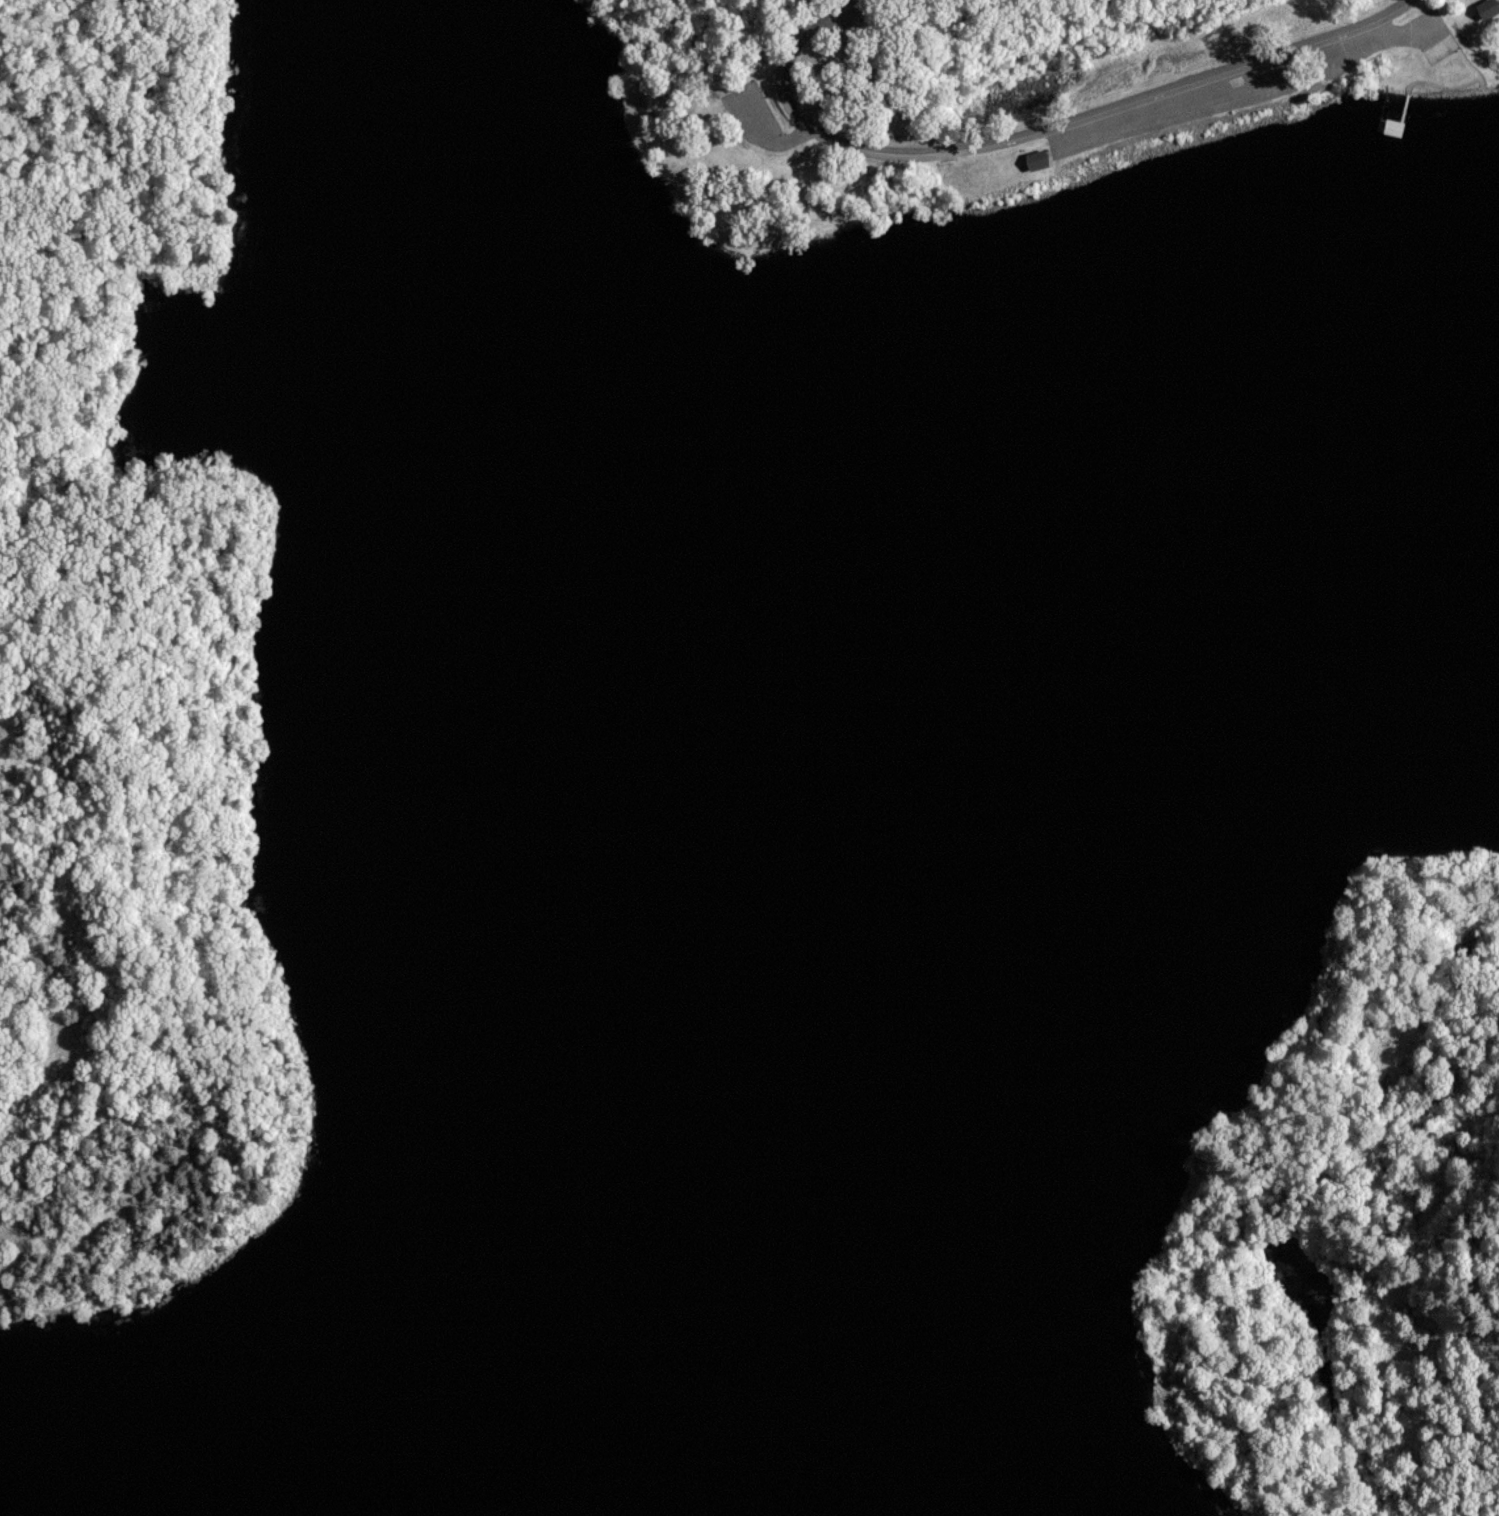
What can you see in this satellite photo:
building: (1474, 11)
road: (693, 42)
parking lot: (755, 106)
building: (1391, 129)
road: (768, 134)
road: (1034, 134)
road: (224, 649)

